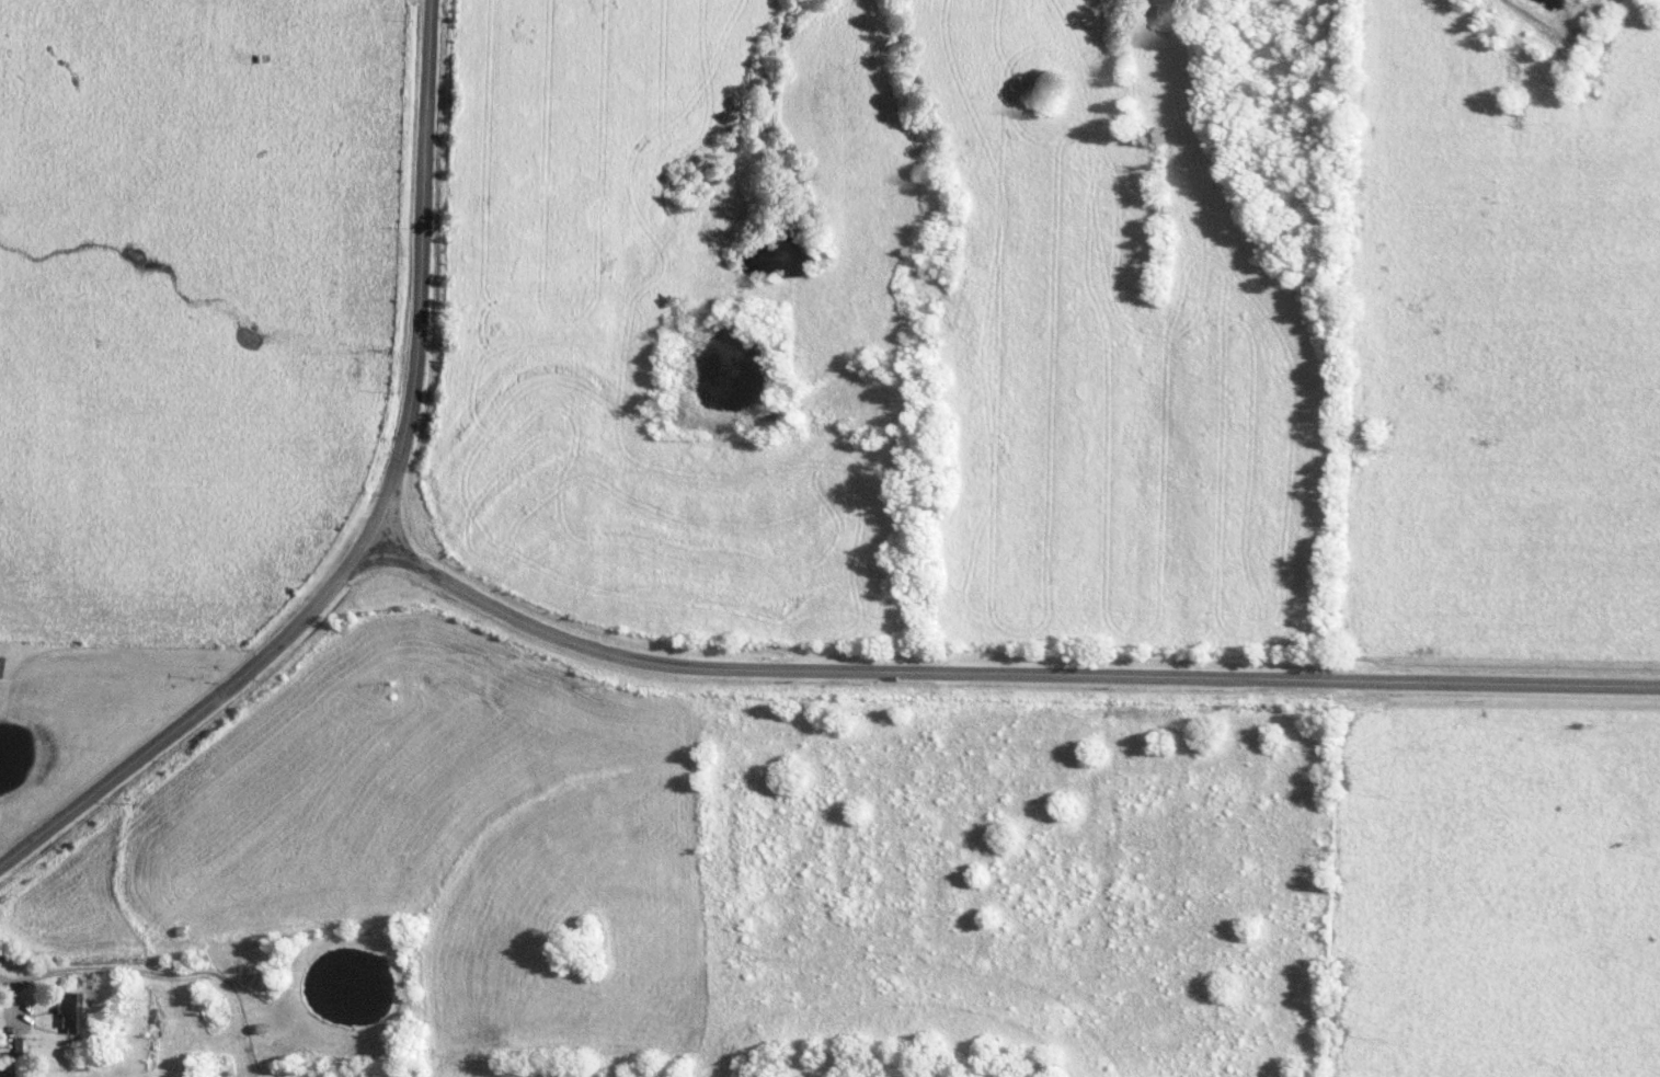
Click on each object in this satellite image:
road: (423, 268)
road: (1003, 672)
road: (198, 710)
road: (15, 995)
building: (64, 1012)
building: (18, 1046)
building: (1, 1050)

